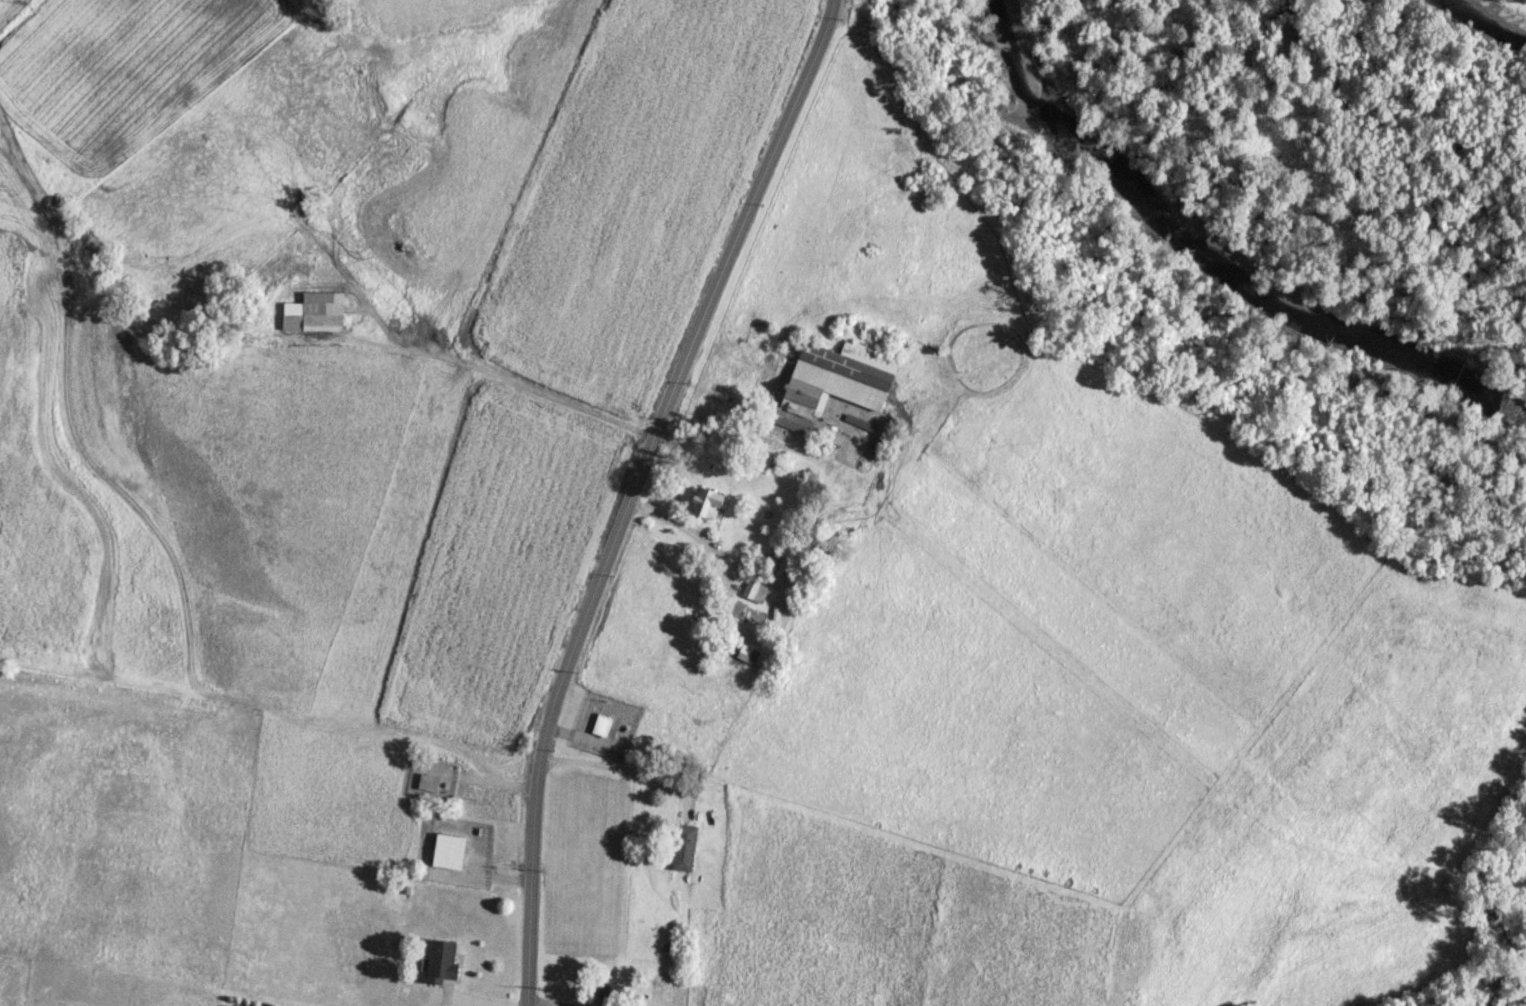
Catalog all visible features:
river: (1493, 15)
river: (1219, 257)
building: (314, 311)
road: (510, 379)
building: (833, 381)
road: (632, 491)
building: (706, 502)
road: (779, 588)
building: (754, 590)
building: (746, 653)
building: (601, 724)
road: (615, 766)
building: (683, 847)
building: (448, 850)
building: (441, 960)
road: (541, 1003)

